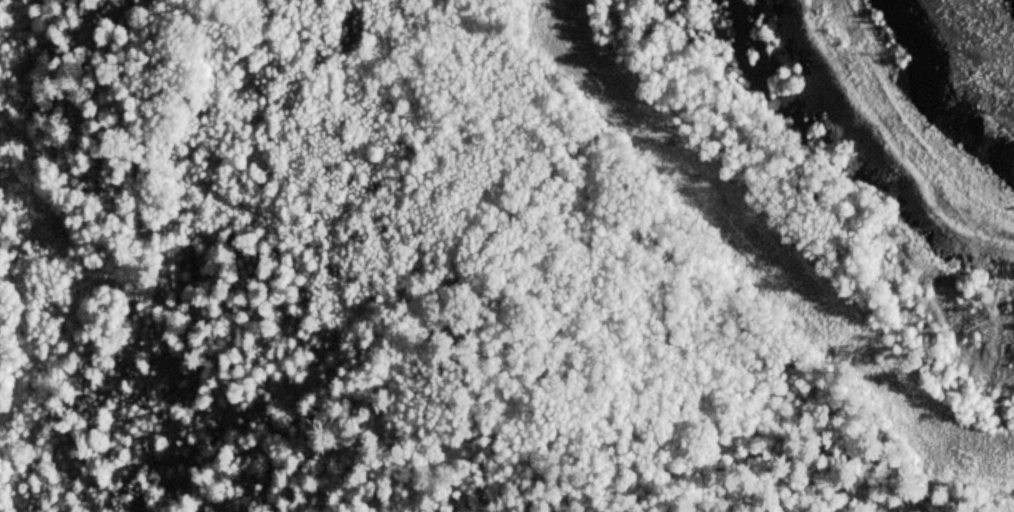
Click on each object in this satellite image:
quarry: (906, 115)

